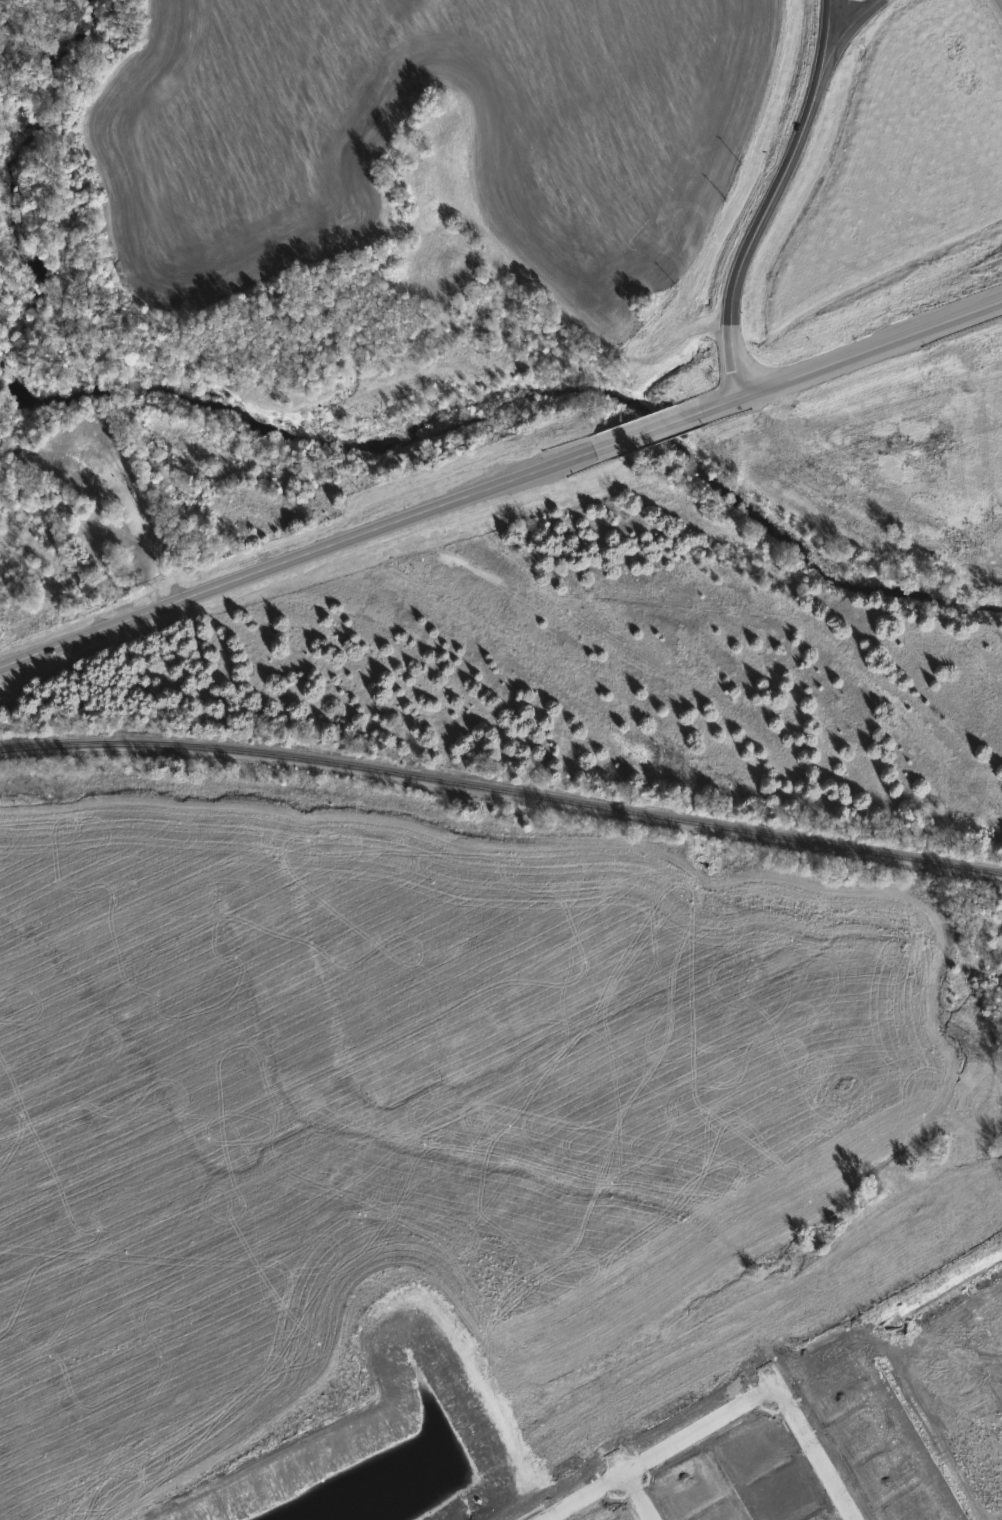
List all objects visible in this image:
road: (823, 33)
road: (849, 33)
building: (434, 125)
building: (416, 153)
building: (412, 186)
road: (759, 230)
road: (853, 362)
road: (655, 432)
road: (301, 555)
railway: (502, 788)
road: (729, 1409)
road: (645, 1494)

